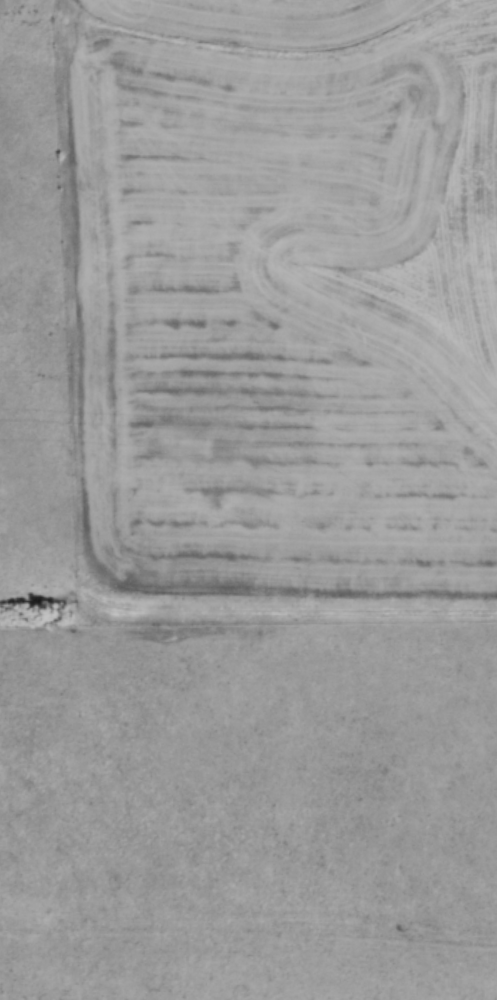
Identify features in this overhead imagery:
road: (248, 620)

